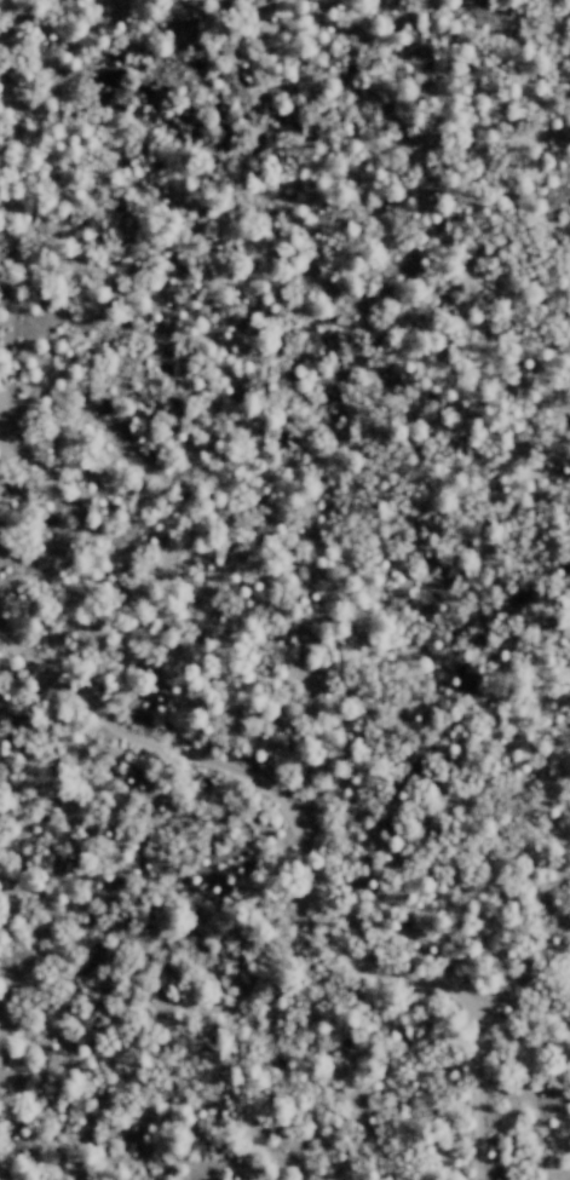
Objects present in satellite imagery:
road: (288, 885)

